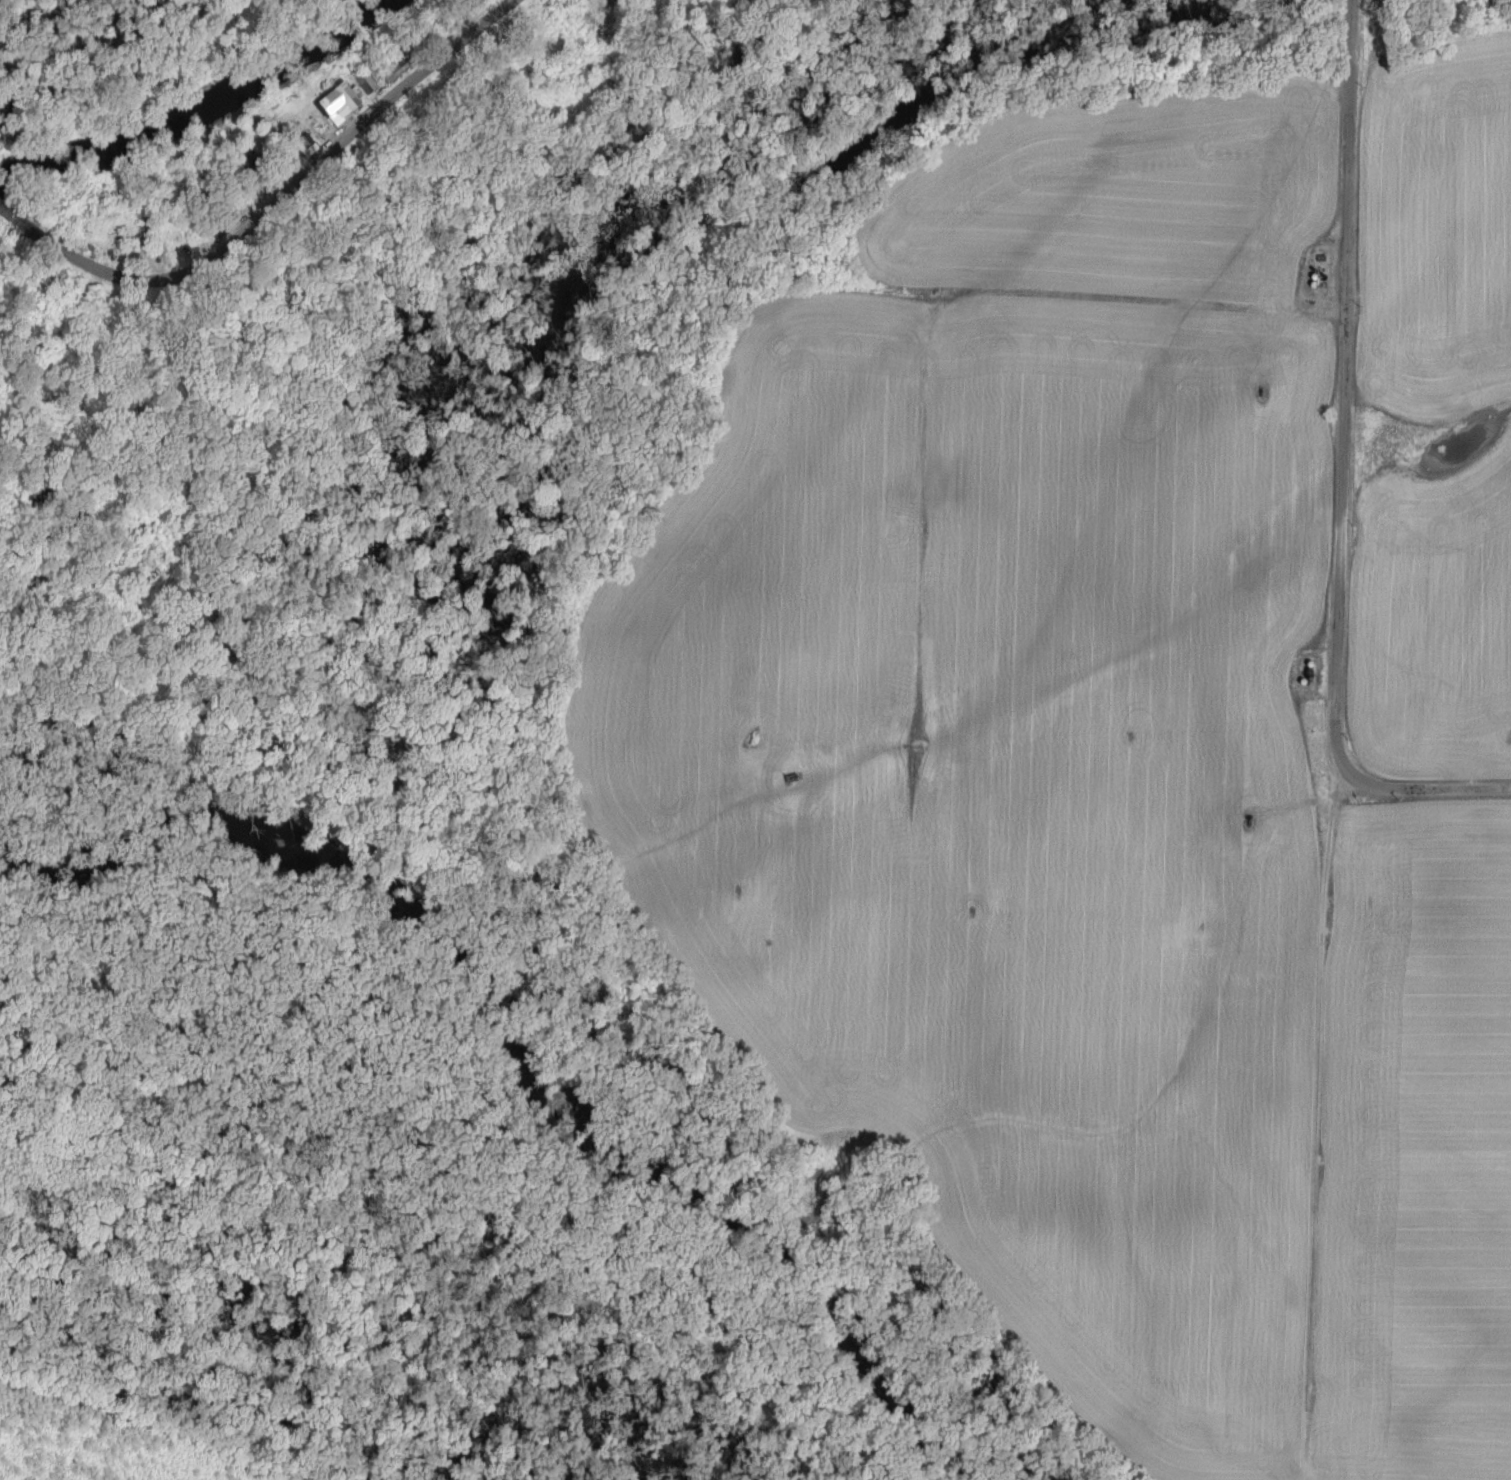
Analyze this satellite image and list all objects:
building: (478, 2)
building: (602, 12)
building: (400, 58)
building: (346, 100)
river: (200, 109)
building: (252, 170)
road: (287, 192)
road: (14, 219)
building: (142, 235)
building: (1324, 259)
building: (1318, 276)
storage tank: (1318, 276)
building: (1317, 285)
storage tank: (1317, 285)
road: (1342, 468)
building: (1314, 665)
storage tank: (1314, 665)
building: (1306, 682)
storage tank: (1306, 682)
river: (512, 1052)

